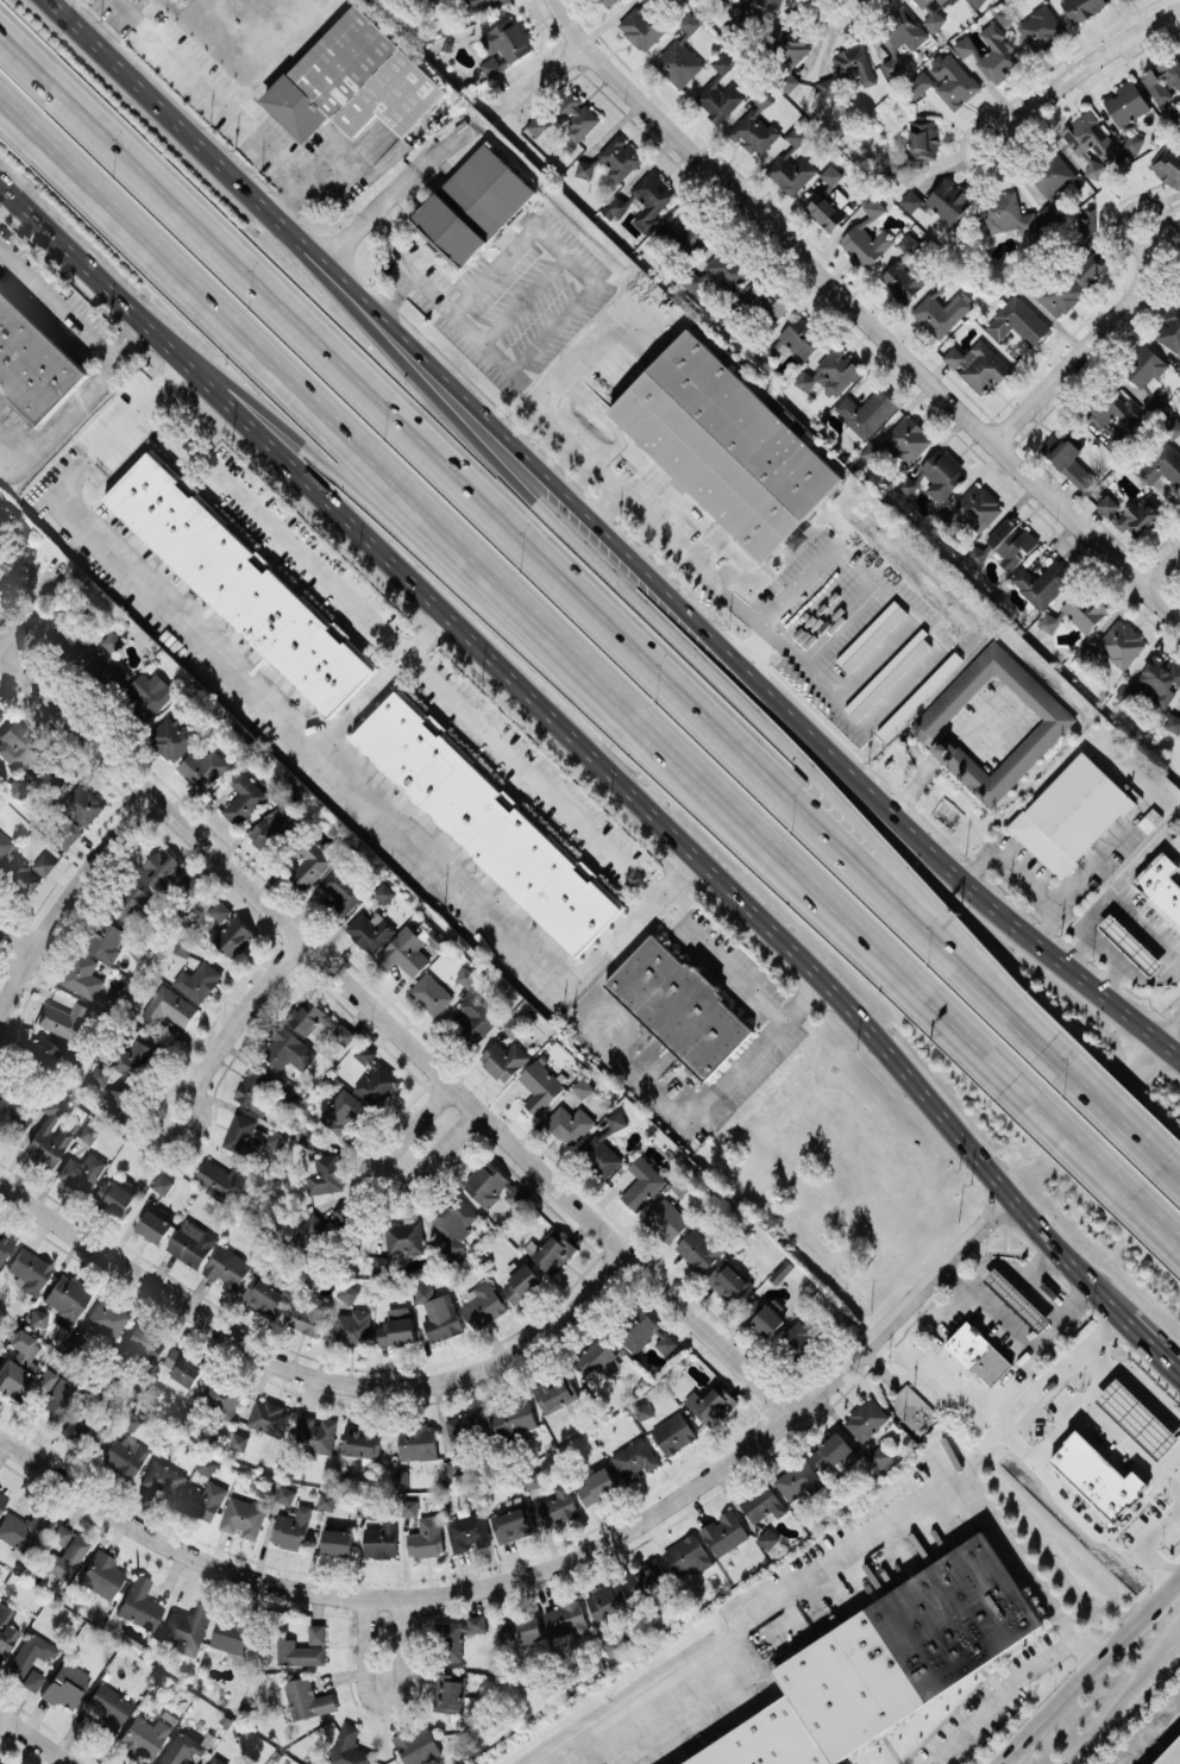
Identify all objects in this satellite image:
building: (647, 0)
building: (608, 1)
building: (977, 2)
building: (479, 5)
building: (1081, 8)
building: (933, 12)
building: (1005, 14)
road: (836, 20)
building: (689, 23)
building: (641, 26)
building: (1040, 27)
building: (903, 30)
building: (787, 43)
building: (503, 45)
building: (990, 54)
building: (677, 63)
building: (722, 63)
road: (1087, 64)
building: (891, 67)
building: (847, 69)
road: (540, 79)
building: (1163, 80)
building: (353, 81)
building: (791, 81)
building: (947, 81)
road: (213, 95)
building: (718, 98)
building: (1126, 103)
building: (575, 117)
building: (536, 124)
building: (753, 126)
building: (796, 136)
building: (923, 138)
road: (1006, 142)
building: (1091, 142)
building: (614, 159)
building: (1167, 165)
building: (791, 172)
building: (830, 174)
building: (1052, 181)
road: (385, 199)
building: (651, 200)
building: (940, 200)
road: (282, 203)
building: (472, 205)
building: (873, 207)
building: (826, 213)
building: (1006, 214)
building: (1084, 222)
building: (684, 237)
road: (1134, 241)
building: (866, 243)
building: (1090, 268)
building: (727, 269)
building: (905, 272)
building: (693, 280)
building: (1050, 293)
building: (766, 300)
road: (55, 303)
building: (653, 303)
building: (941, 312)
road: (862, 313)
building: (1017, 321)
building: (1170, 328)
road: (552, 329)
building: (795, 340)
road: (1081, 349)
building: (32, 364)
building: (977, 364)
building: (1178, 364)
building: (831, 372)
building: (1146, 375)
road: (77, 404)
building: (866, 412)
building: (1098, 420)
road: (117, 426)
building: (1178, 432)
building: (900, 441)
building: (726, 444)
building: (1067, 460)
road: (447, 464)
building: (1162, 465)
building: (942, 473)
road: (611, 481)
building: (906, 485)
road: (604, 503)
building: (979, 508)
road: (388, 509)
building: (1129, 513)
road: (600, 528)
building: (1005, 545)
building: (10, 551)
road: (1163, 570)
road: (601, 579)
building: (1042, 582)
building: (237, 584)
road: (511, 588)
road: (30, 611)
building: (1075, 613)
road: (754, 622)
building: (77, 638)
building: (112, 641)
building: (1121, 642)
road: (397, 647)
building: (113, 677)
building: (1159, 678)
road: (379, 680)
road: (515, 680)
building: (1124, 692)
building: (147, 695)
building: (1, 715)
building: (1054, 722)
building: (1173, 723)
building: (171, 737)
road: (308, 741)
building: (15, 745)
building: (202, 767)
building: (48, 773)
building: (15, 789)
building: (244, 797)
building: (75, 814)
building: (1071, 814)
building: (485, 823)
building: (272, 828)
building: (4, 843)
road: (1106, 848)
road: (1140, 859)
building: (308, 866)
road: (1008, 866)
building: (161, 868)
building: (23, 875)
building: (1161, 885)
building: (383, 892)
road: (65, 894)
road: (1060, 903)
building: (128, 904)
building: (218, 910)
road: (1129, 912)
road: (629, 923)
building: (369, 930)
building: (233, 936)
building: (103, 940)
road: (11, 944)
building: (1130, 944)
building: (403, 952)
road: (1118, 958)
road: (729, 968)
building: (80, 975)
building: (465, 975)
road: (1113, 977)
building: (197, 980)
road: (969, 980)
building: (429, 993)
building: (169, 1006)
building: (679, 1006)
road: (243, 1015)
road: (600, 1015)
building: (307, 1016)
building: (472, 1018)
building: (63, 1019)
building: (511, 1025)
road: (1172, 1032)
building: (343, 1034)
road: (396, 1034)
road: (1172, 1047)
building: (289, 1050)
building: (40, 1053)
building: (364, 1053)
building: (502, 1059)
building: (133, 1060)
road: (652, 1061)
building: (99, 1078)
building: (377, 1084)
building: (539, 1085)
building: (582, 1086)
road: (182, 1090)
road: (708, 1094)
building: (119, 1105)
building: (343, 1110)
building: (12, 1113)
building: (615, 1119)
building: (567, 1123)
road: (1115, 1125)
building: (87, 1132)
building: (48, 1135)
building: (249, 1135)
building: (598, 1156)
road: (1105, 1156)
building: (81, 1170)
building: (326, 1174)
building: (222, 1179)
road: (382, 1180)
building: (162, 1184)
building: (641, 1184)
building: (680, 1184)
building: (492, 1186)
building: (117, 1199)
building: (343, 1217)
building: (456, 1217)
building: (666, 1219)
building: (153, 1225)
building: (307, 1229)
building: (403, 1238)
building: (4, 1243)
building: (190, 1243)
road: (956, 1248)
building: (699, 1249)
building: (553, 1251)
road: (1068, 1251)
road: (1042, 1260)
building: (381, 1262)
building: (27, 1268)
building: (226, 1268)
building: (780, 1270)
road: (1021, 1274)
building: (728, 1282)
building: (520, 1283)
building: (347, 1292)
building: (65, 1295)
building: (263, 1297)
building: (1017, 1299)
building: (481, 1305)
building: (751, 1307)
building: (438, 1313)
building: (37, 1316)
building: (308, 1316)
building: (770, 1316)
building: (105, 1318)
building: (396, 1326)
road: (1142, 1326)
building: (356, 1327)
building: (636, 1330)
road: (1024, 1332)
building: (797, 1338)
building: (144, 1343)
building: (665, 1343)
building: (978, 1352)
road: (1168, 1352)
building: (597, 1358)
building: (18, 1364)
building: (178, 1370)
road: (308, 1375)
road: (1132, 1383)
road: (1037, 1387)
road: (1094, 1387)
building: (55, 1393)
building: (556, 1393)
building: (220, 1396)
building: (714, 1404)
building: (641, 1410)
building: (268, 1417)
building: (513, 1418)
building: (866, 1418)
building: (1137, 1418)
building: (465, 1427)
building: (83, 1430)
road: (1057, 1430)
building: (315, 1432)
building: (673, 1432)
building: (238, 1440)
building: (360, 1440)
building: (416, 1442)
road: (1016, 1442)
road: (1131, 1446)
building: (834, 1452)
building: (123, 1455)
building: (634, 1458)
building: (206, 1464)
building: (454, 1465)
building: (1096, 1475)
building: (162, 1479)
building: (798, 1480)
building: (596, 1486)
building: (284, 1494)
building: (1, 1496)
building: (203, 1500)
building: (326, 1500)
building: (761, 1502)
building: (558, 1505)
building: (408, 1507)
building: (366, 1509)
building: (243, 1517)
road: (1081, 1518)
road: (1159, 1523)
building: (511, 1524)
building: (291, 1527)
building: (21, 1528)
building: (467, 1532)
building: (723, 1532)
building: (426, 1537)
building: (767, 1537)
building: (381, 1539)
building: (337, 1540)
building: (64, 1550)
building: (686, 1555)
road: (1163, 1563)
road: (1028, 1572)
building: (101, 1574)
building: (644, 1577)
road: (478, 1587)
building: (608, 1601)
building: (138, 1602)
road: (758, 1613)
building: (566, 1621)
building: (187, 1626)
building: (6, 1628)
building: (521, 1630)
building: (231, 1633)
building: (316, 1633)
building: (458, 1634)
road: (1175, 1650)
building: (296, 1652)
building: (30, 1658)
building: (887, 1662)
road: (1090, 1670)
building: (64, 1683)
building: (448, 1691)
road: (998, 1695)
building: (307, 1699)
road: (383, 1703)
building: (107, 1707)
road: (1121, 1709)
road: (1147, 1731)
building: (142, 1735)
road: (38, 1738)
building: (416, 1745)
building: (181, 1747)
building: (346, 1747)
building: (1170, 1753)
building: (216, 1760)
road: (1000, 1763)

